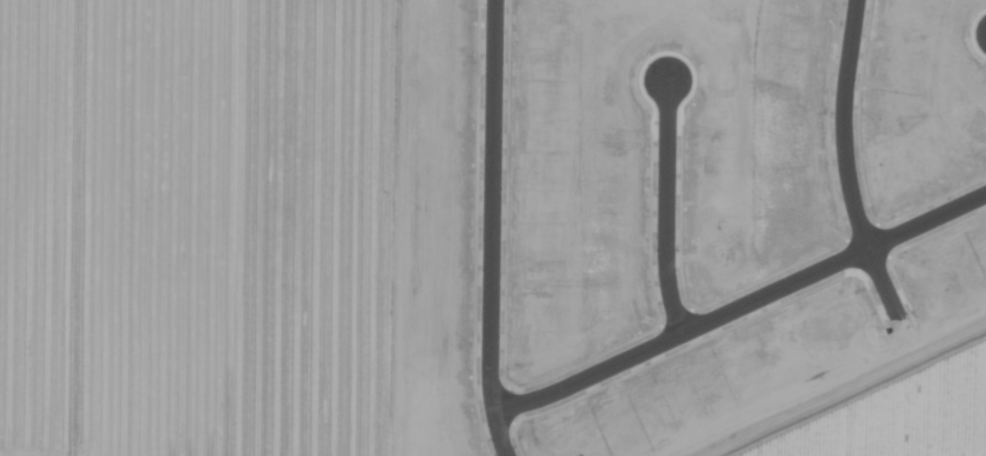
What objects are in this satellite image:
road: (840, 164)
road: (661, 212)
road: (490, 228)
crop: (493, 228)
road: (739, 309)

